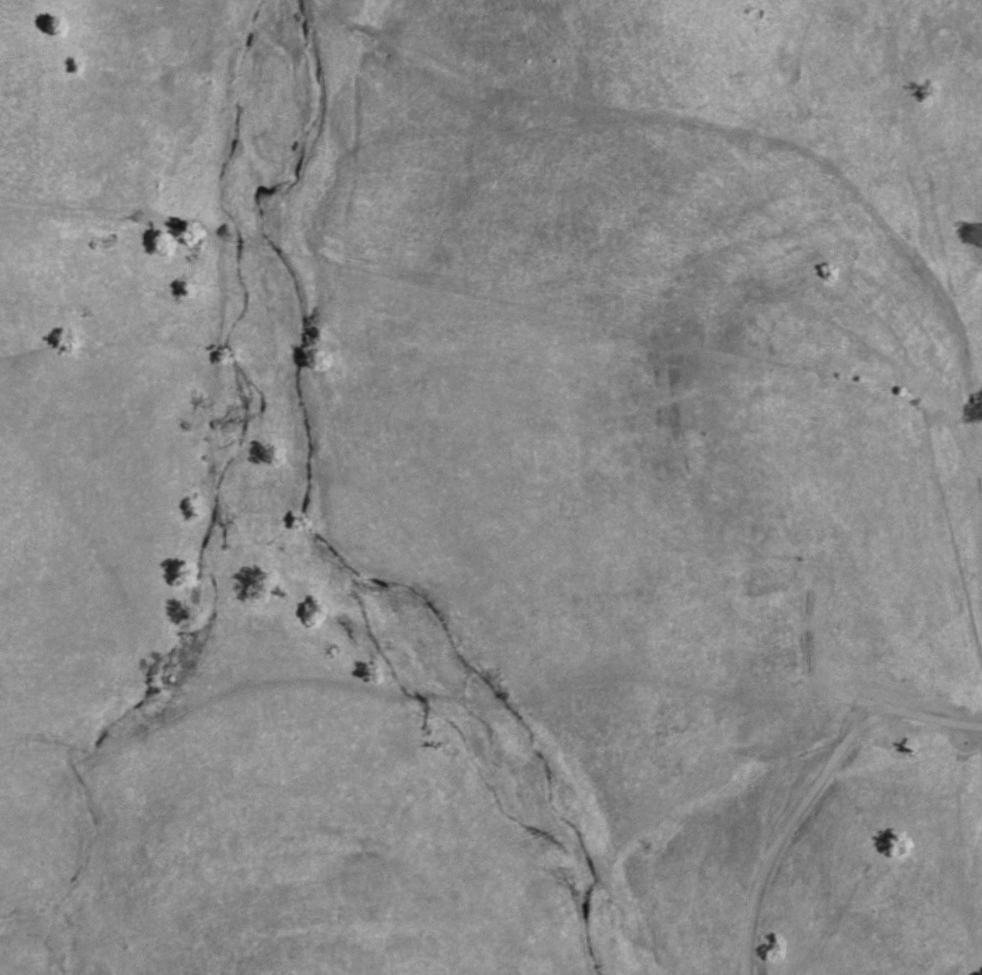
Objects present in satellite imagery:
road: (857, 806)

